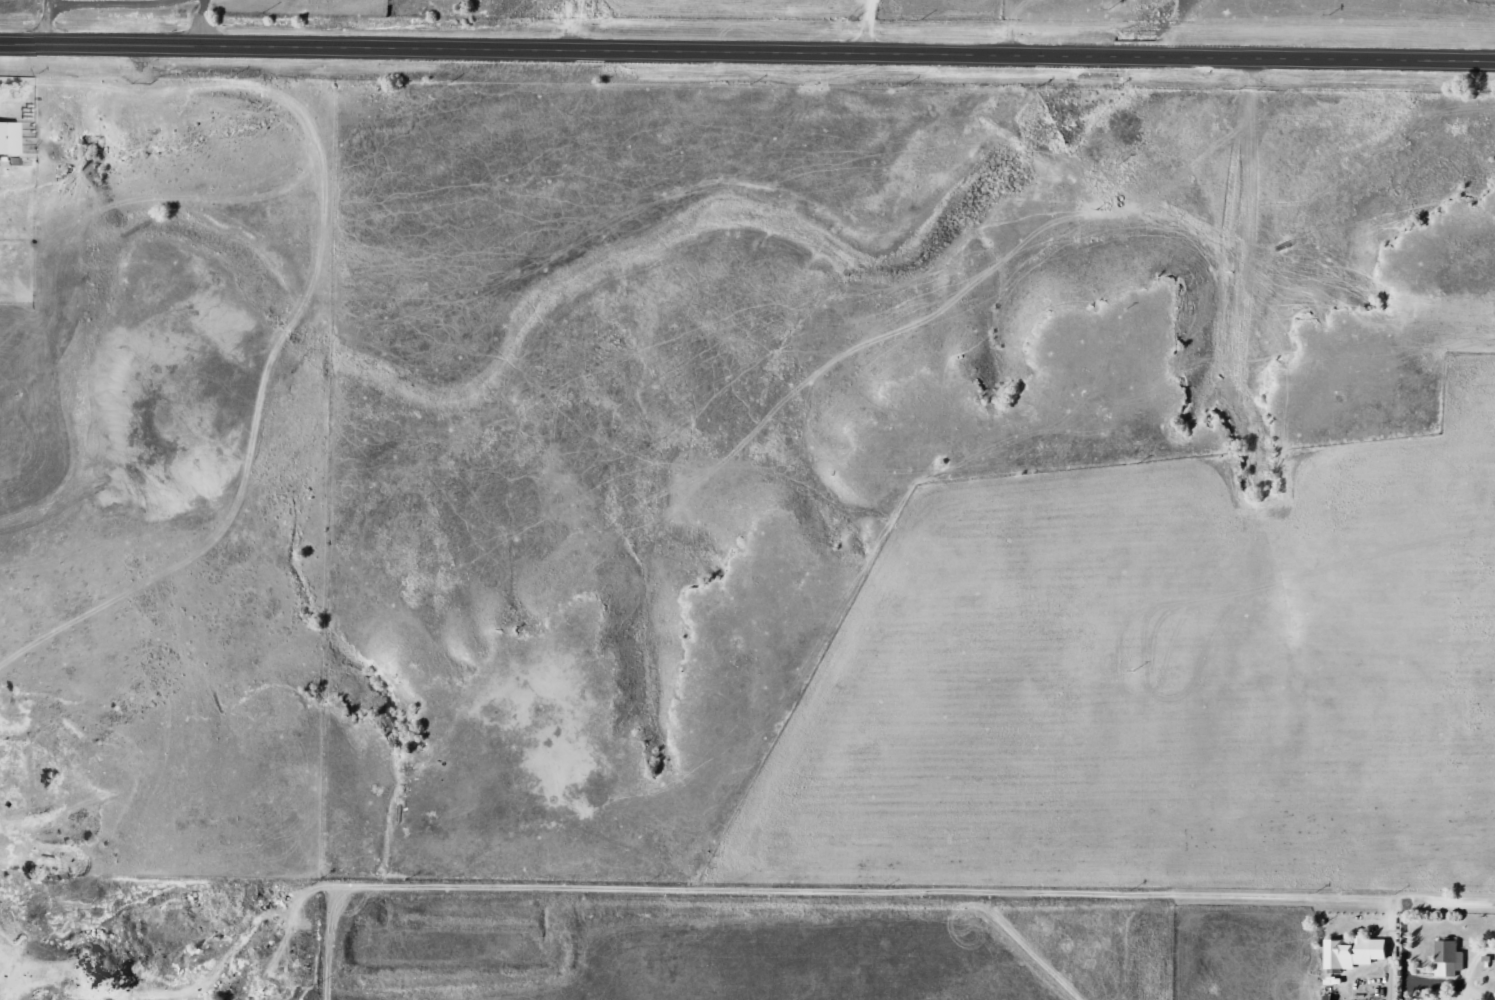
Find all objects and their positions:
road: (310, 24)
road: (747, 54)
building: (10, 137)
road: (892, 912)
building: (1357, 953)
building: (1452, 959)

